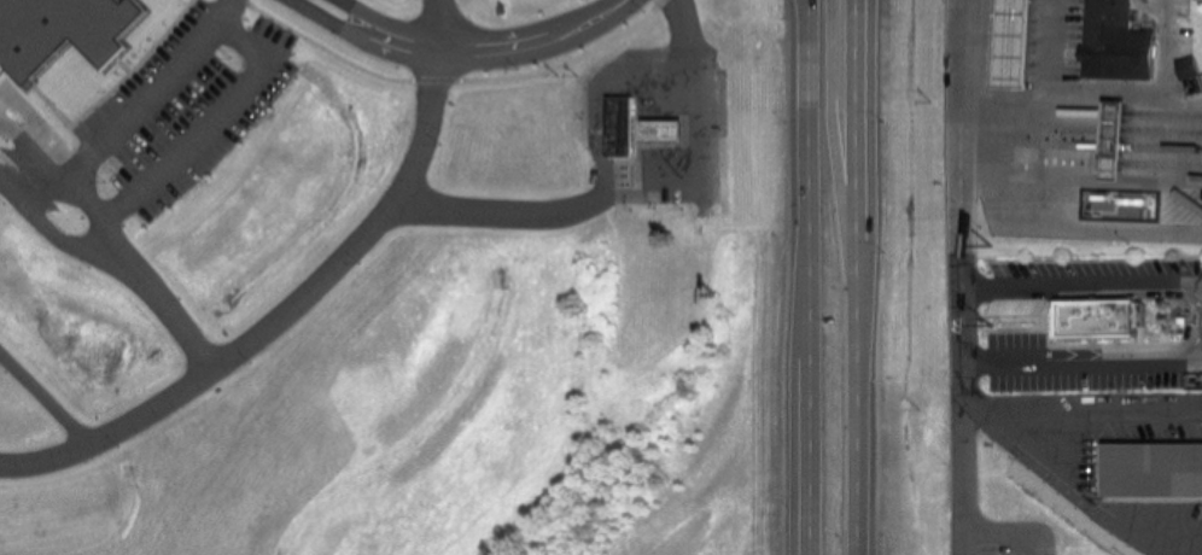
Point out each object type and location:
road: (220, 7)
road: (432, 23)
building: (62, 31)
road: (530, 40)
building: (1111, 42)
building: (1005, 46)
gas station: (1005, 46)
building: (439, 48)
road: (409, 49)
power tower: (725, 76)
road: (449, 78)
road: (1048, 98)
parking lot: (186, 106)
building: (473, 115)
building: (1107, 128)
building: (619, 130)
building: (665, 135)
gas station: (665, 135)
building: (310, 141)
road: (828, 152)
road: (1154, 182)
road: (115, 206)
road: (965, 267)
road: (1086, 273)
road: (810, 277)
road: (856, 277)
road: (279, 315)
power tower: (733, 316)
building: (1091, 319)
road: (1086, 350)
building: (1153, 471)
power tower: (664, 479)
road: (992, 533)
parking lot: (1002, 536)

